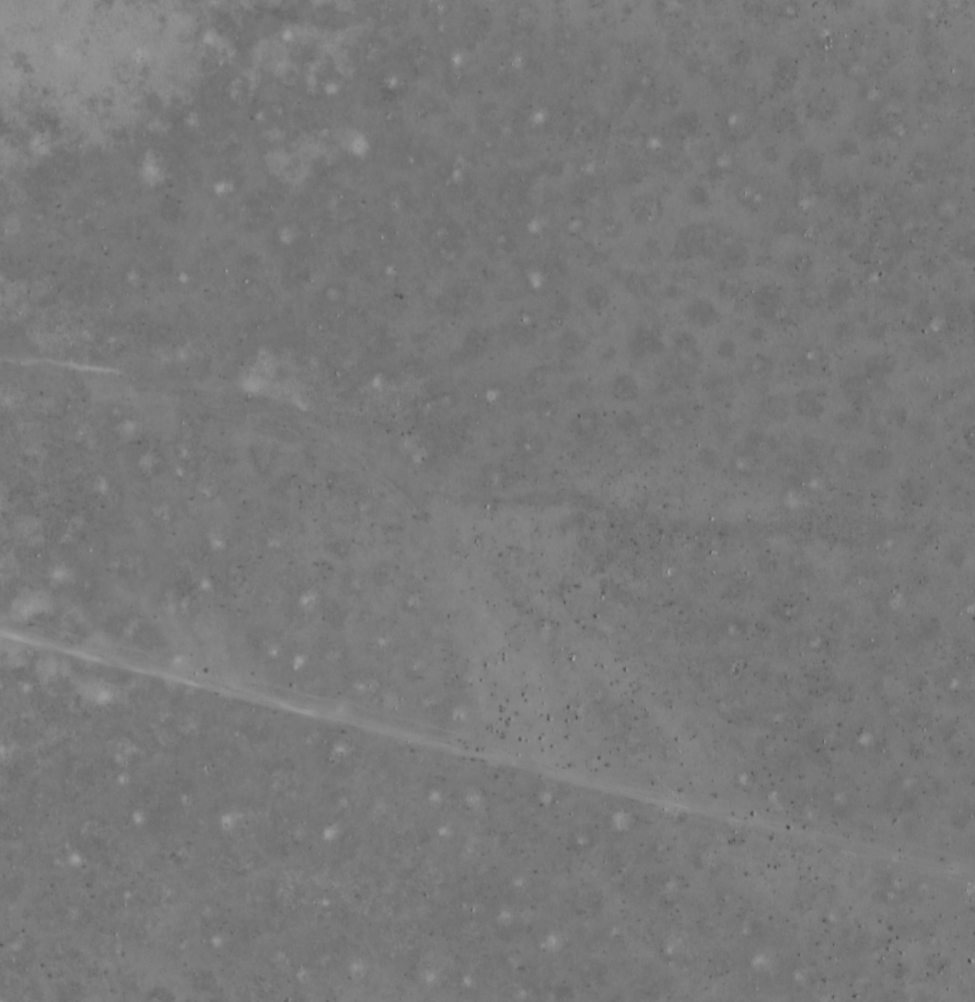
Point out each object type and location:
road: (487, 758)

